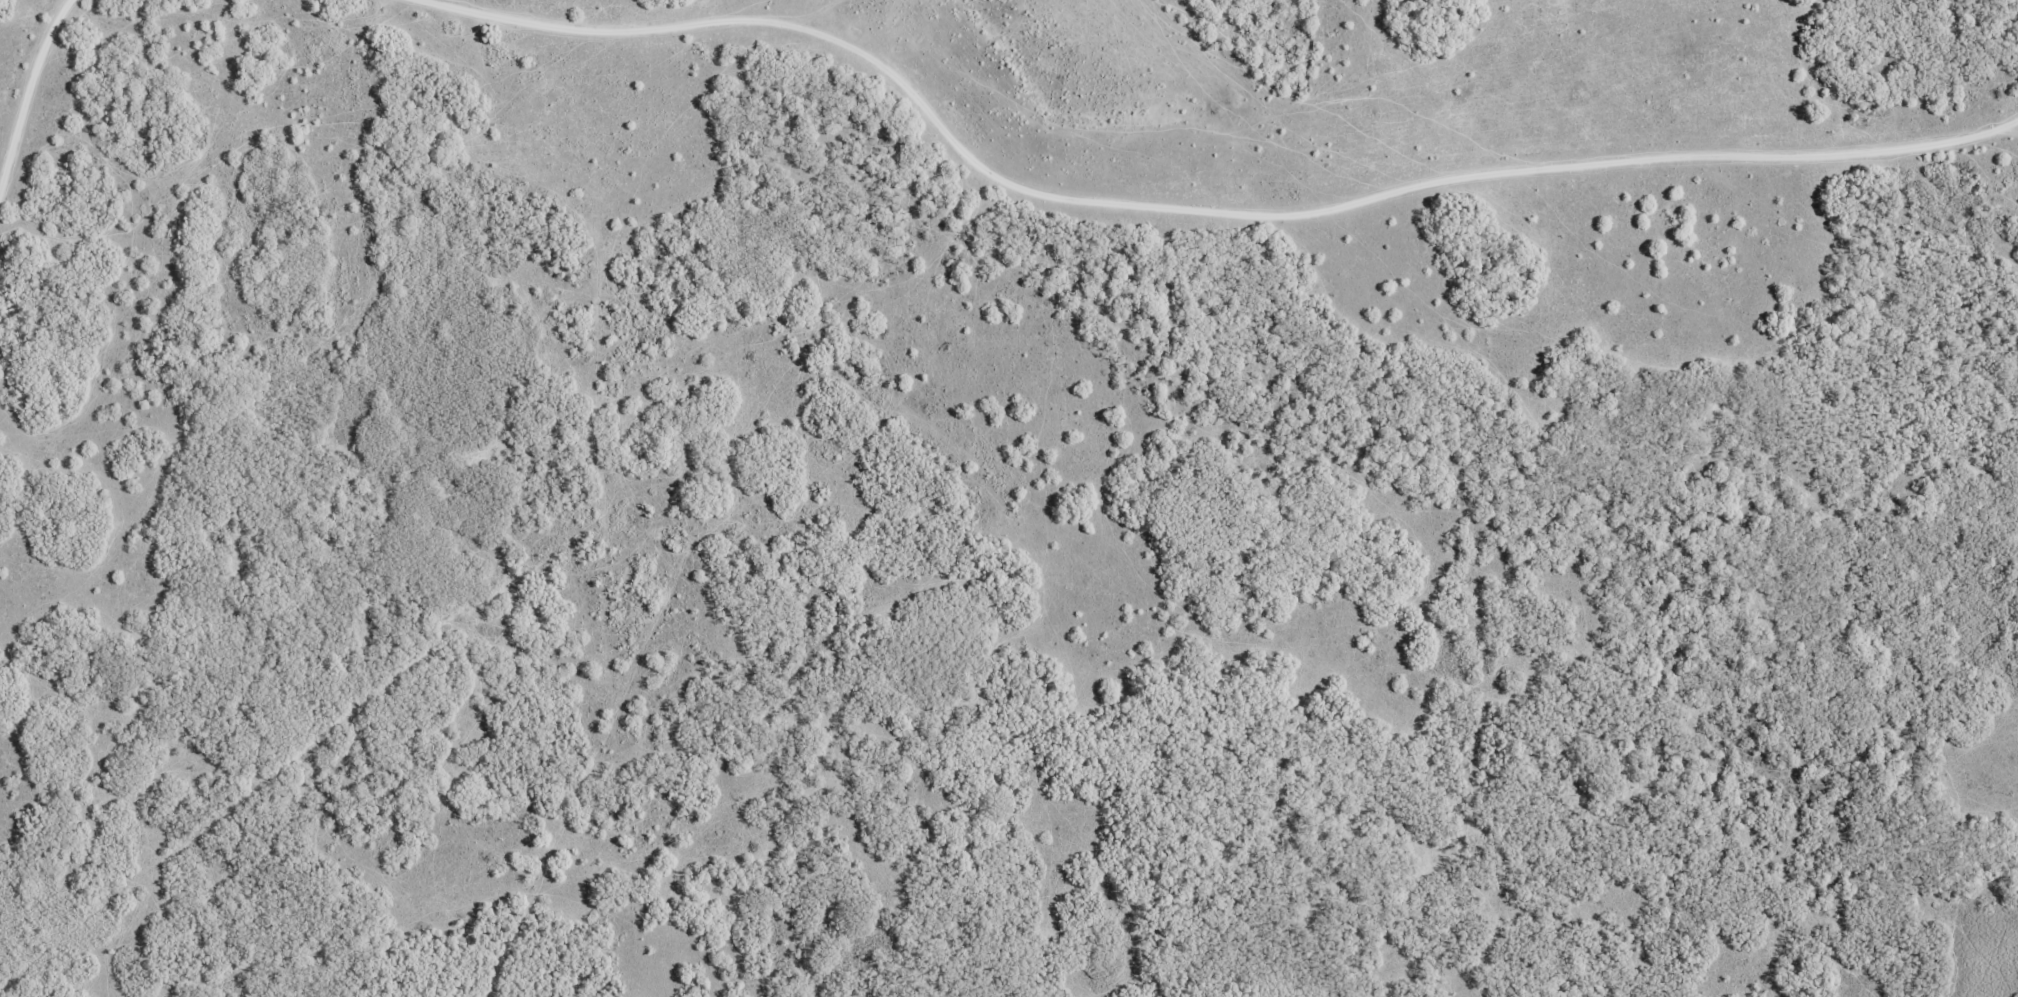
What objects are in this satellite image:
road: (51, 128)
road: (1978, 171)
road: (1264, 187)
road: (324, 358)

